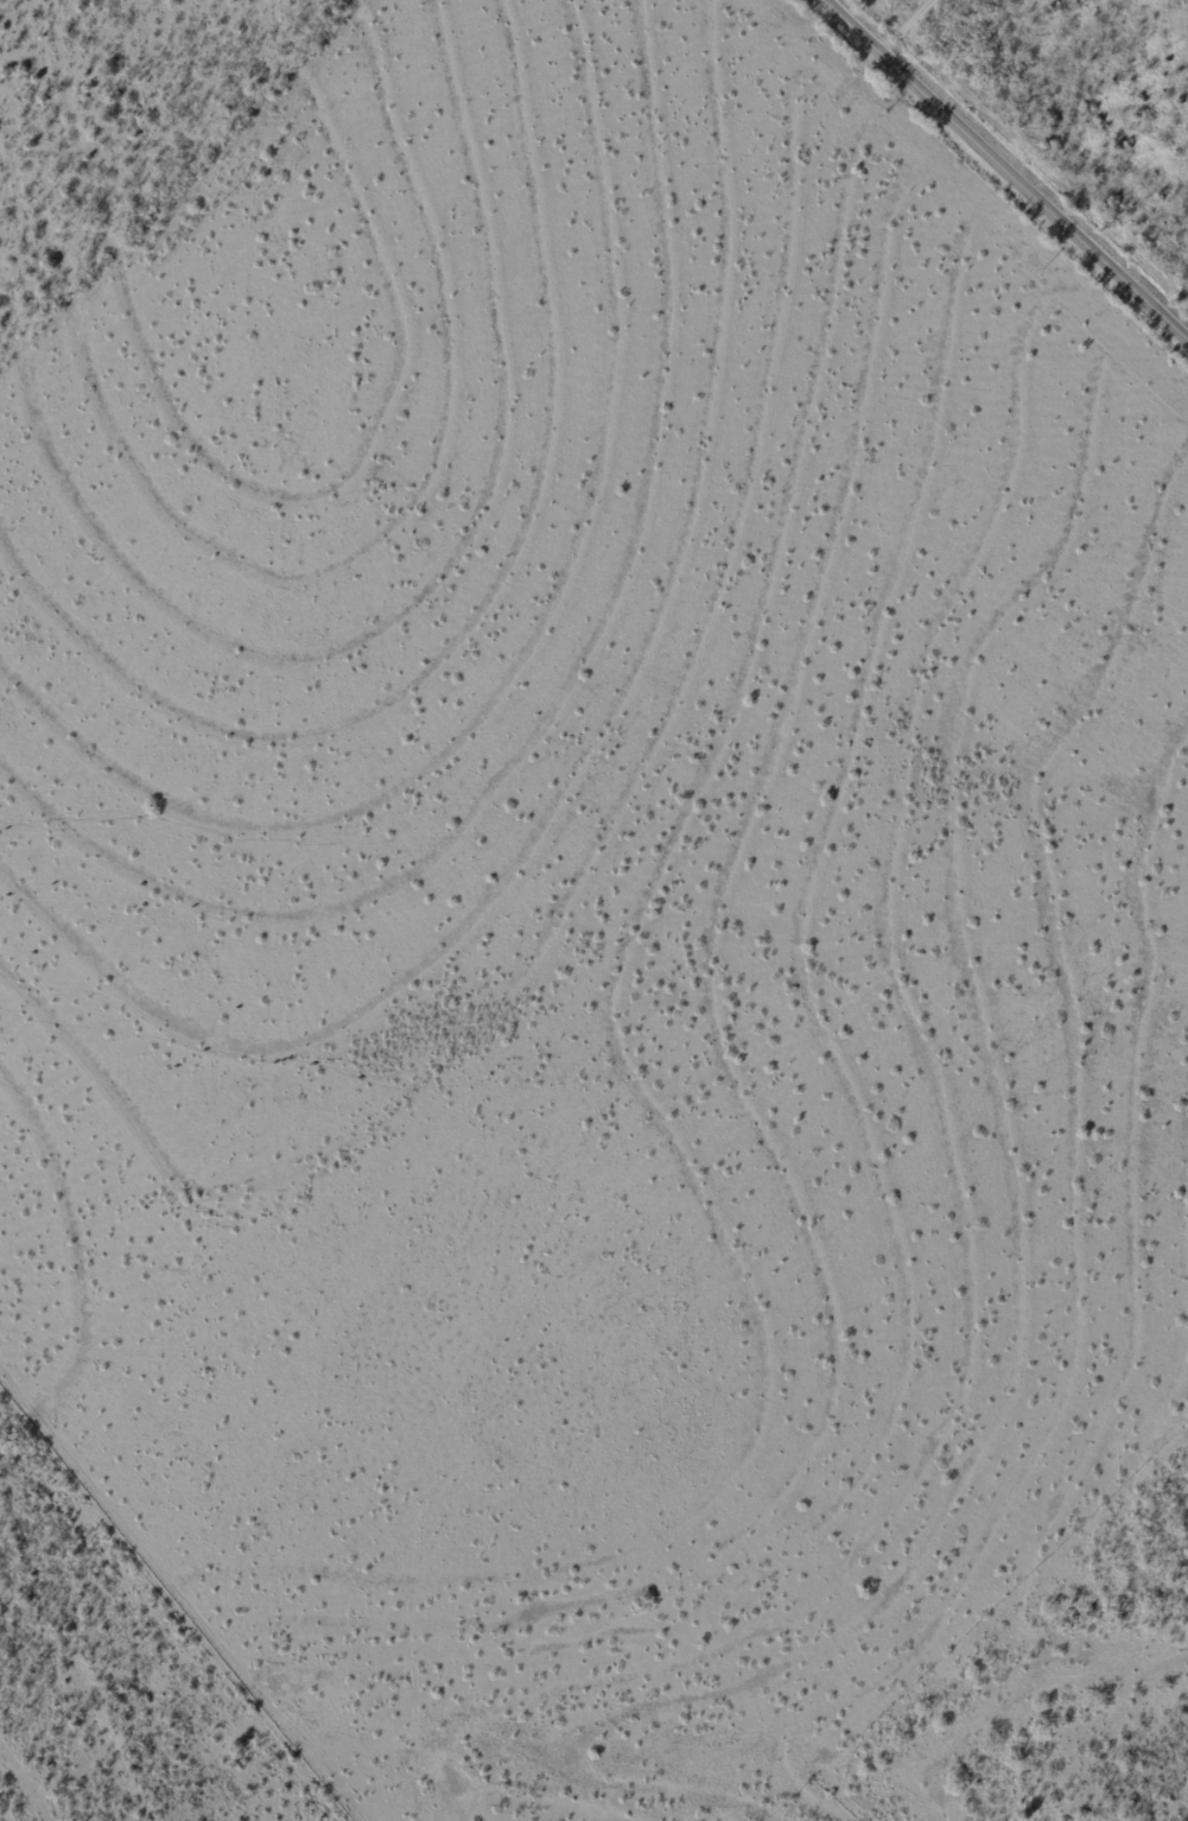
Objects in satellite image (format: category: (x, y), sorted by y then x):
road: (1004, 169)

